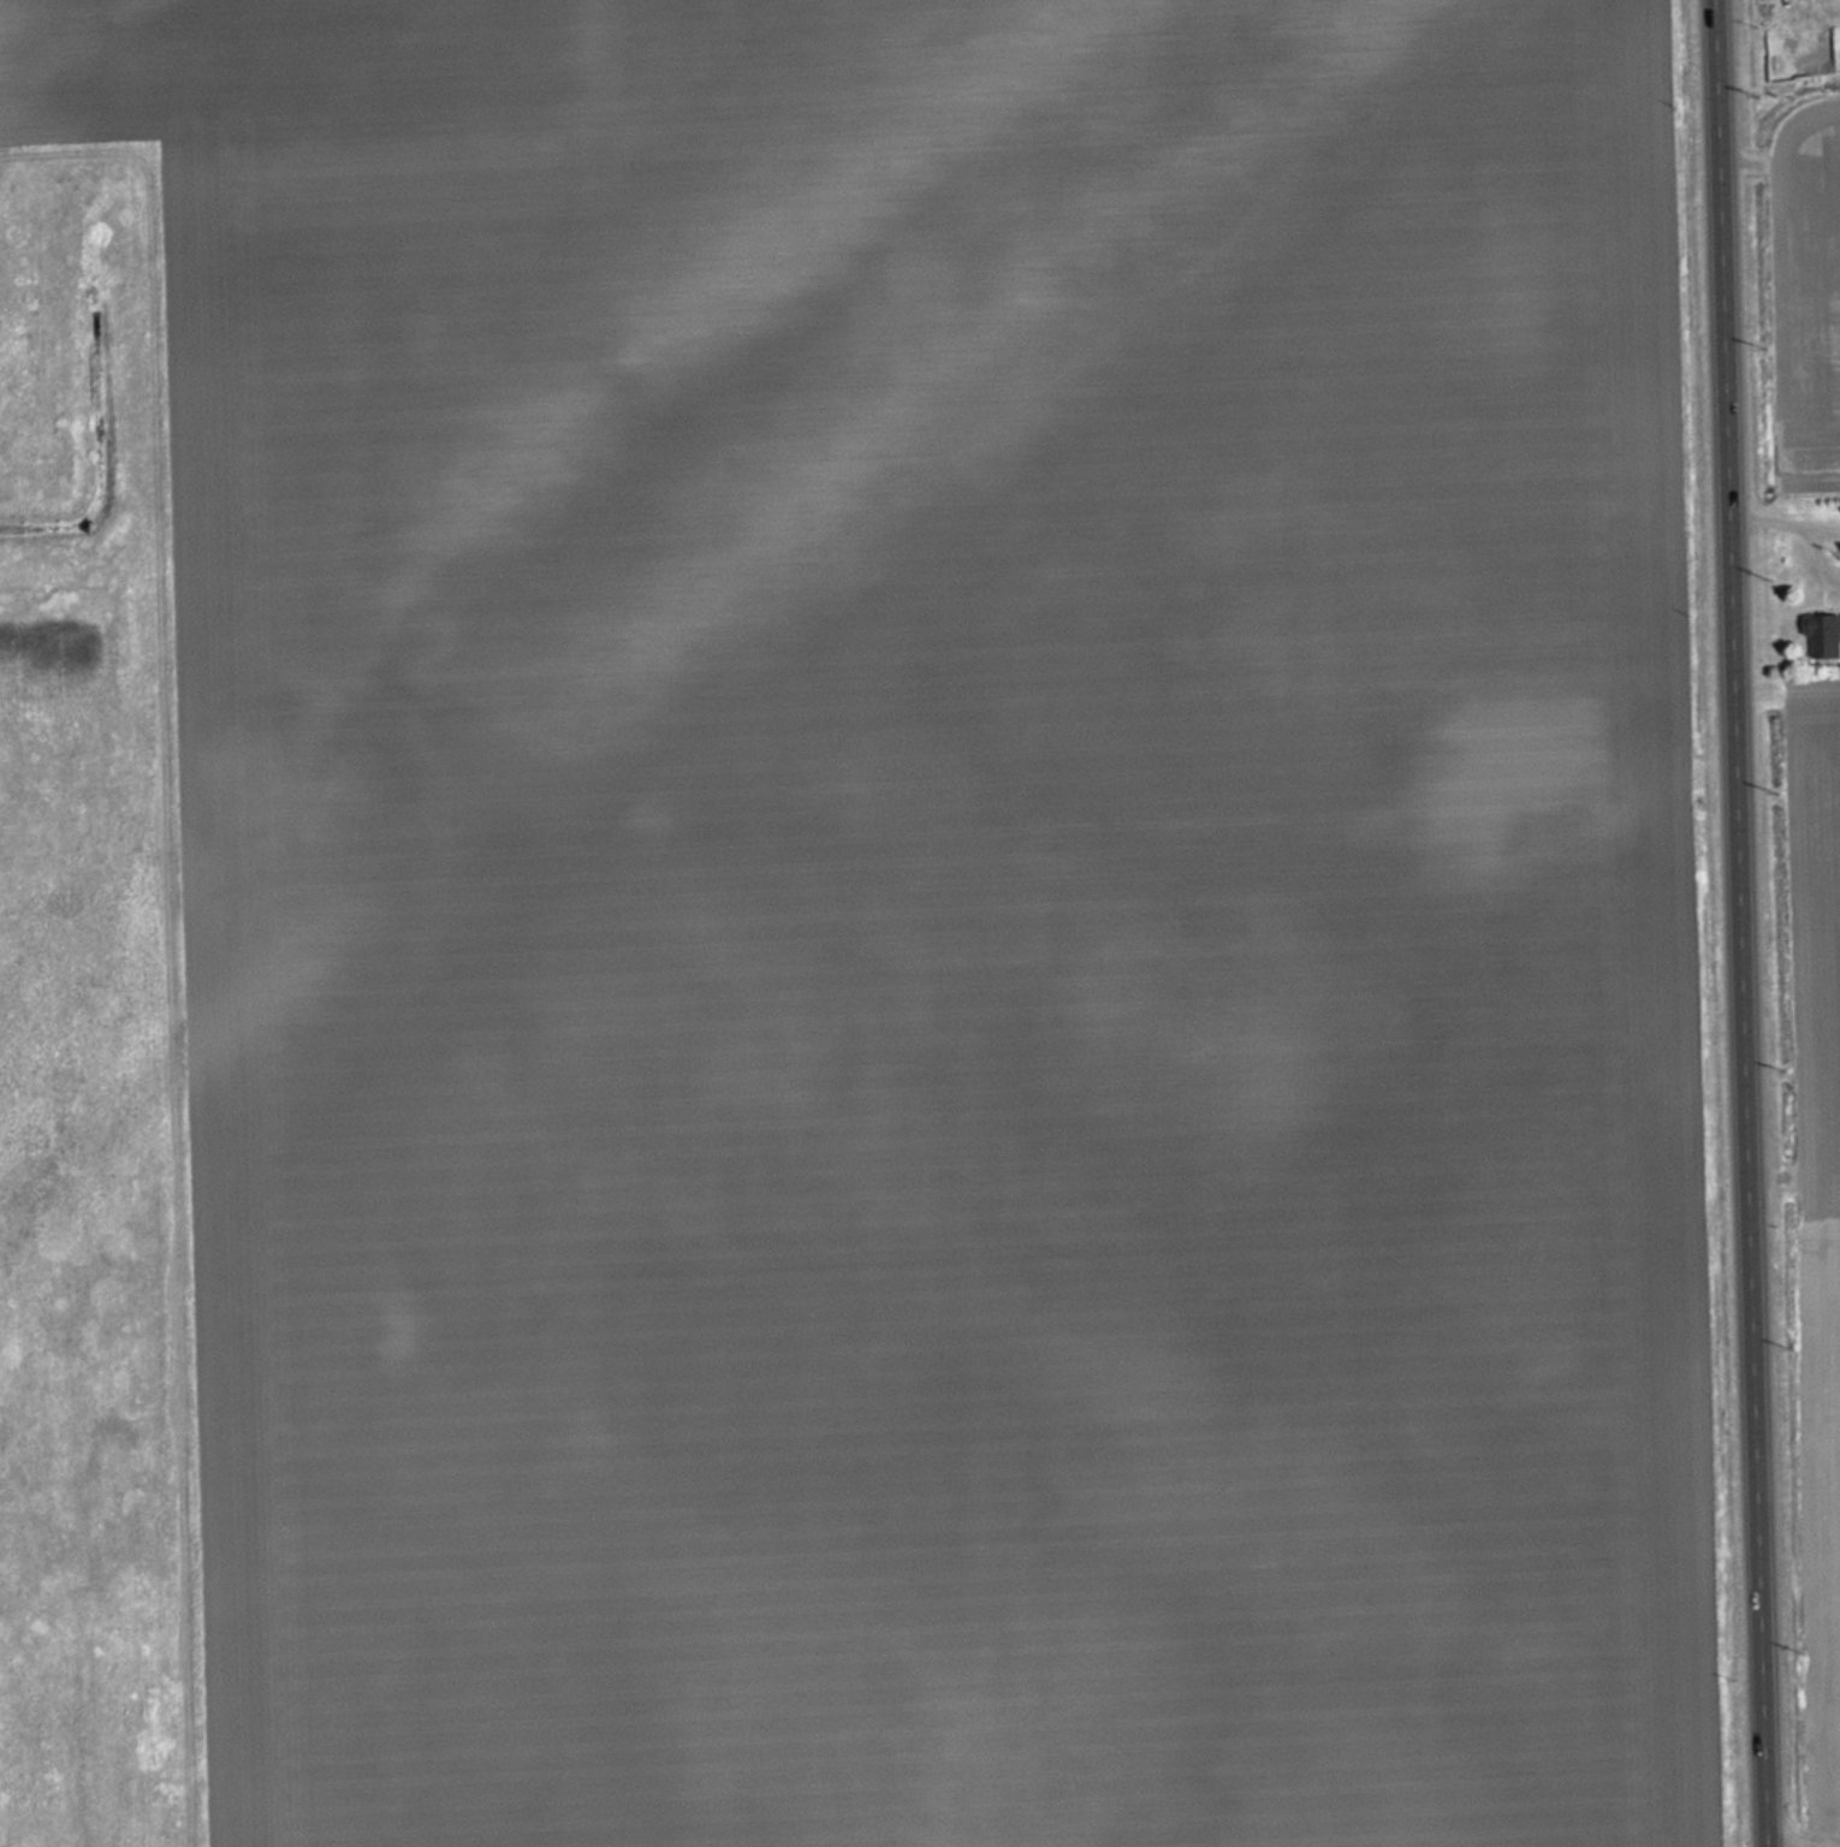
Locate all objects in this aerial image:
building: (1823, 635)
road: (1745, 922)

